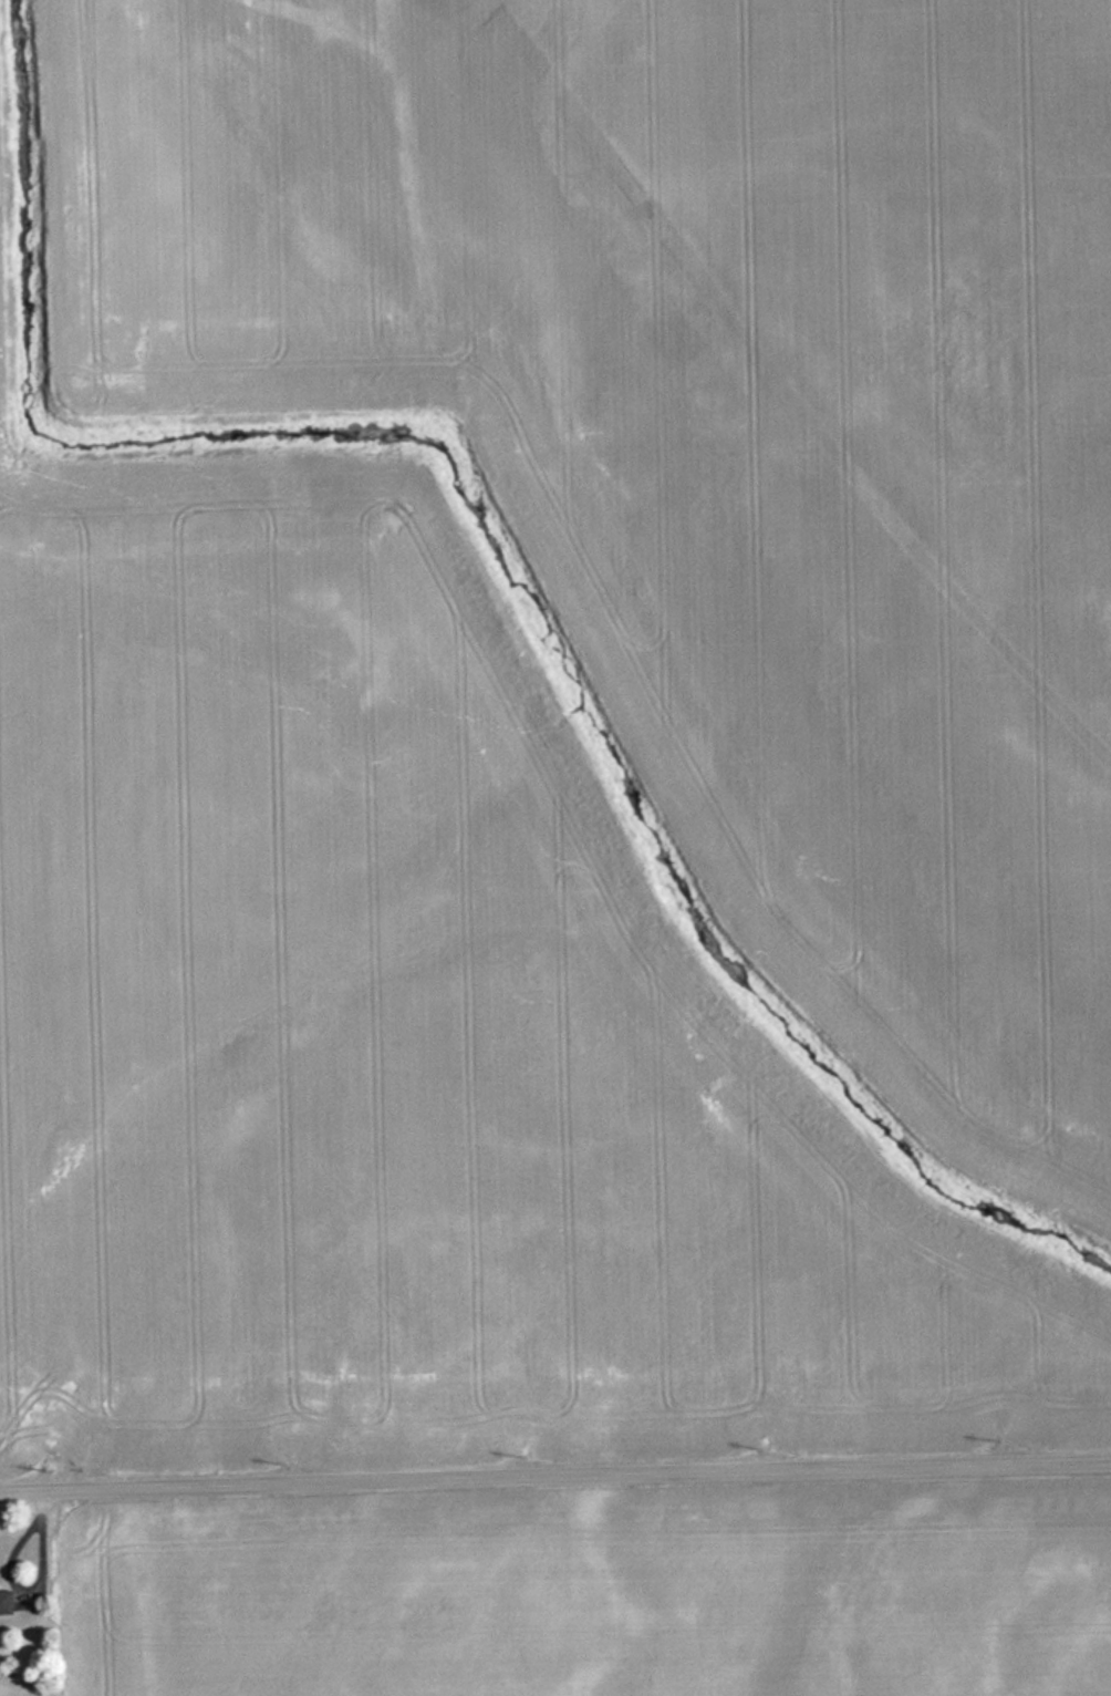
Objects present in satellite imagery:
road: (554, 1478)
building: (4, 1602)

